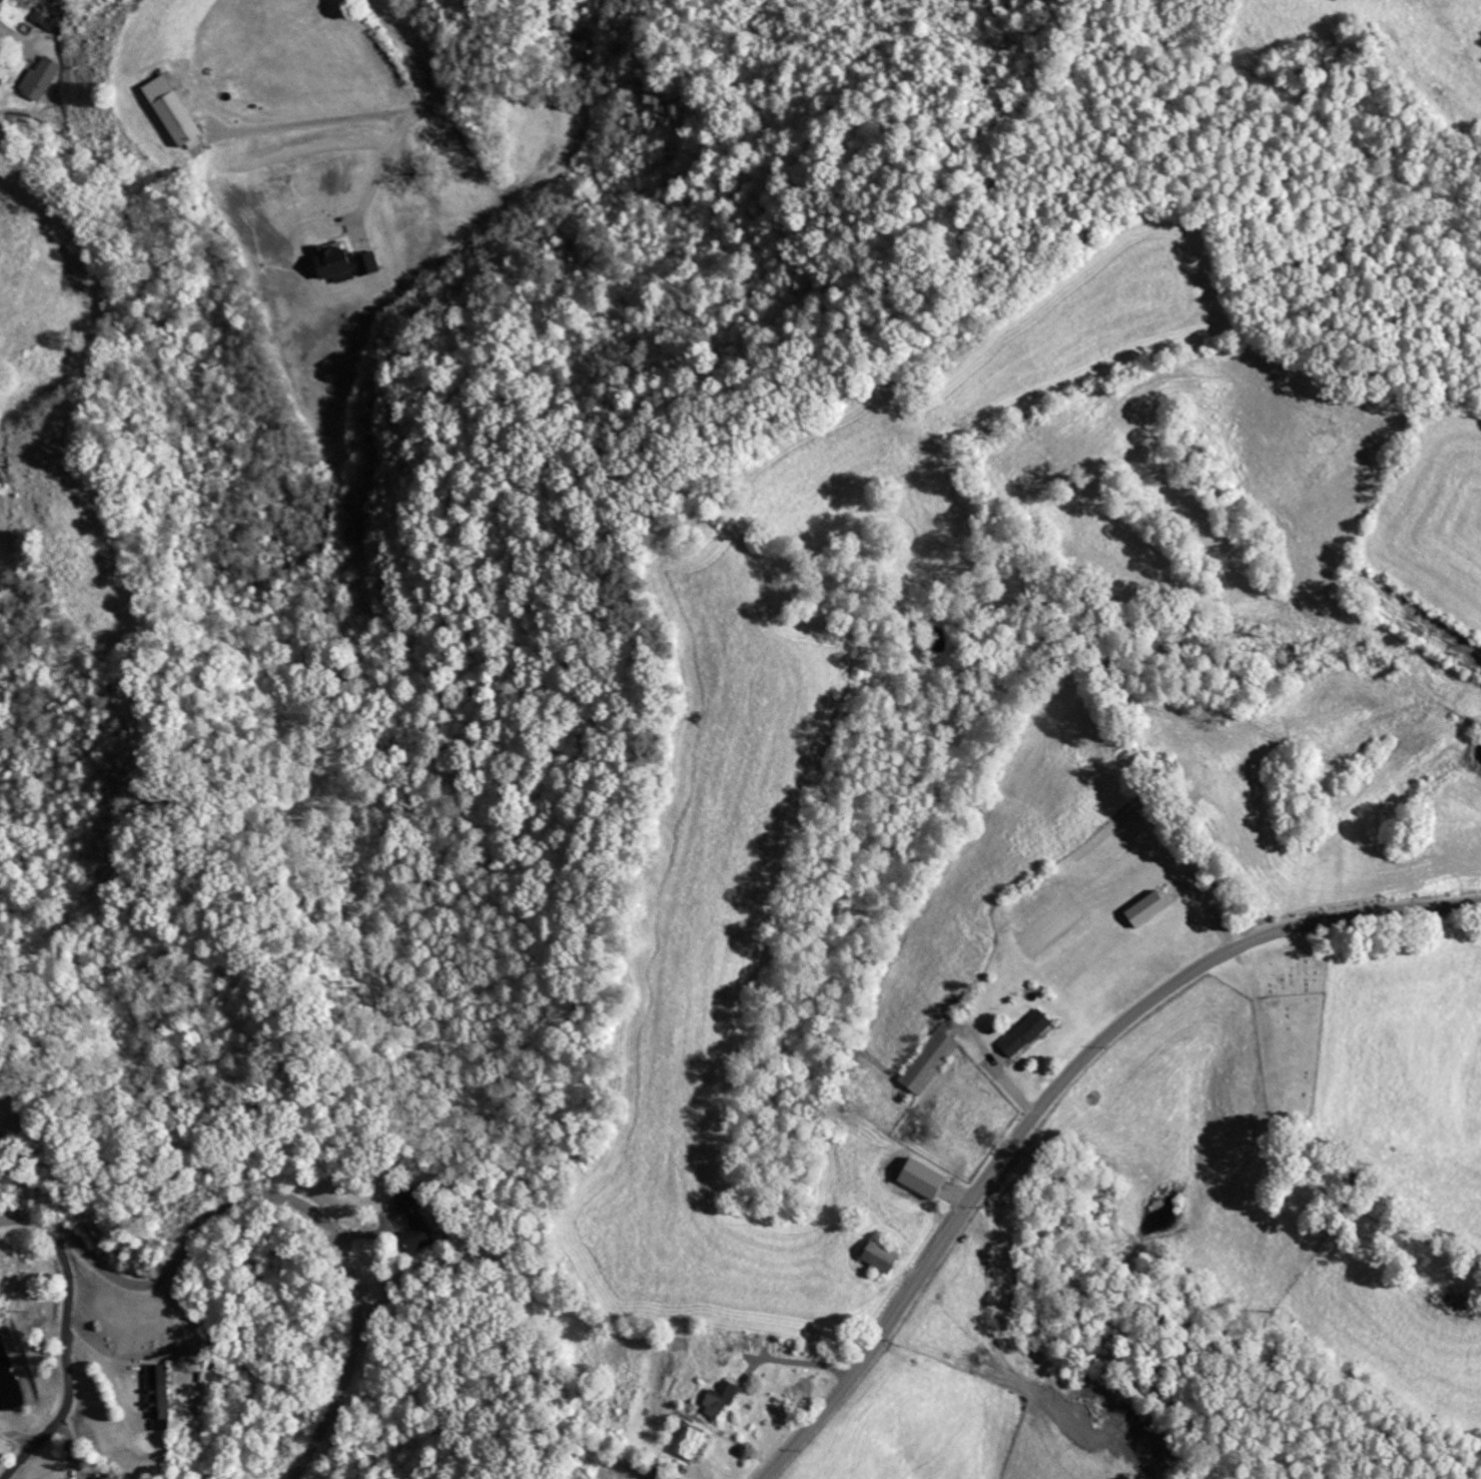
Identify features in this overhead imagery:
building: (52, 15)
building: (45, 79)
building: (180, 111)
building: (350, 264)
building: (1139, 908)
building: (1022, 1033)
building: (926, 1061)
road: (1054, 1092)
building: (1, 1133)
building: (915, 1178)
road: (277, 1197)
building: (426, 1234)
building: (874, 1255)
road: (70, 1362)
building: (163, 1396)
building: (724, 1399)
building: (697, 1444)

